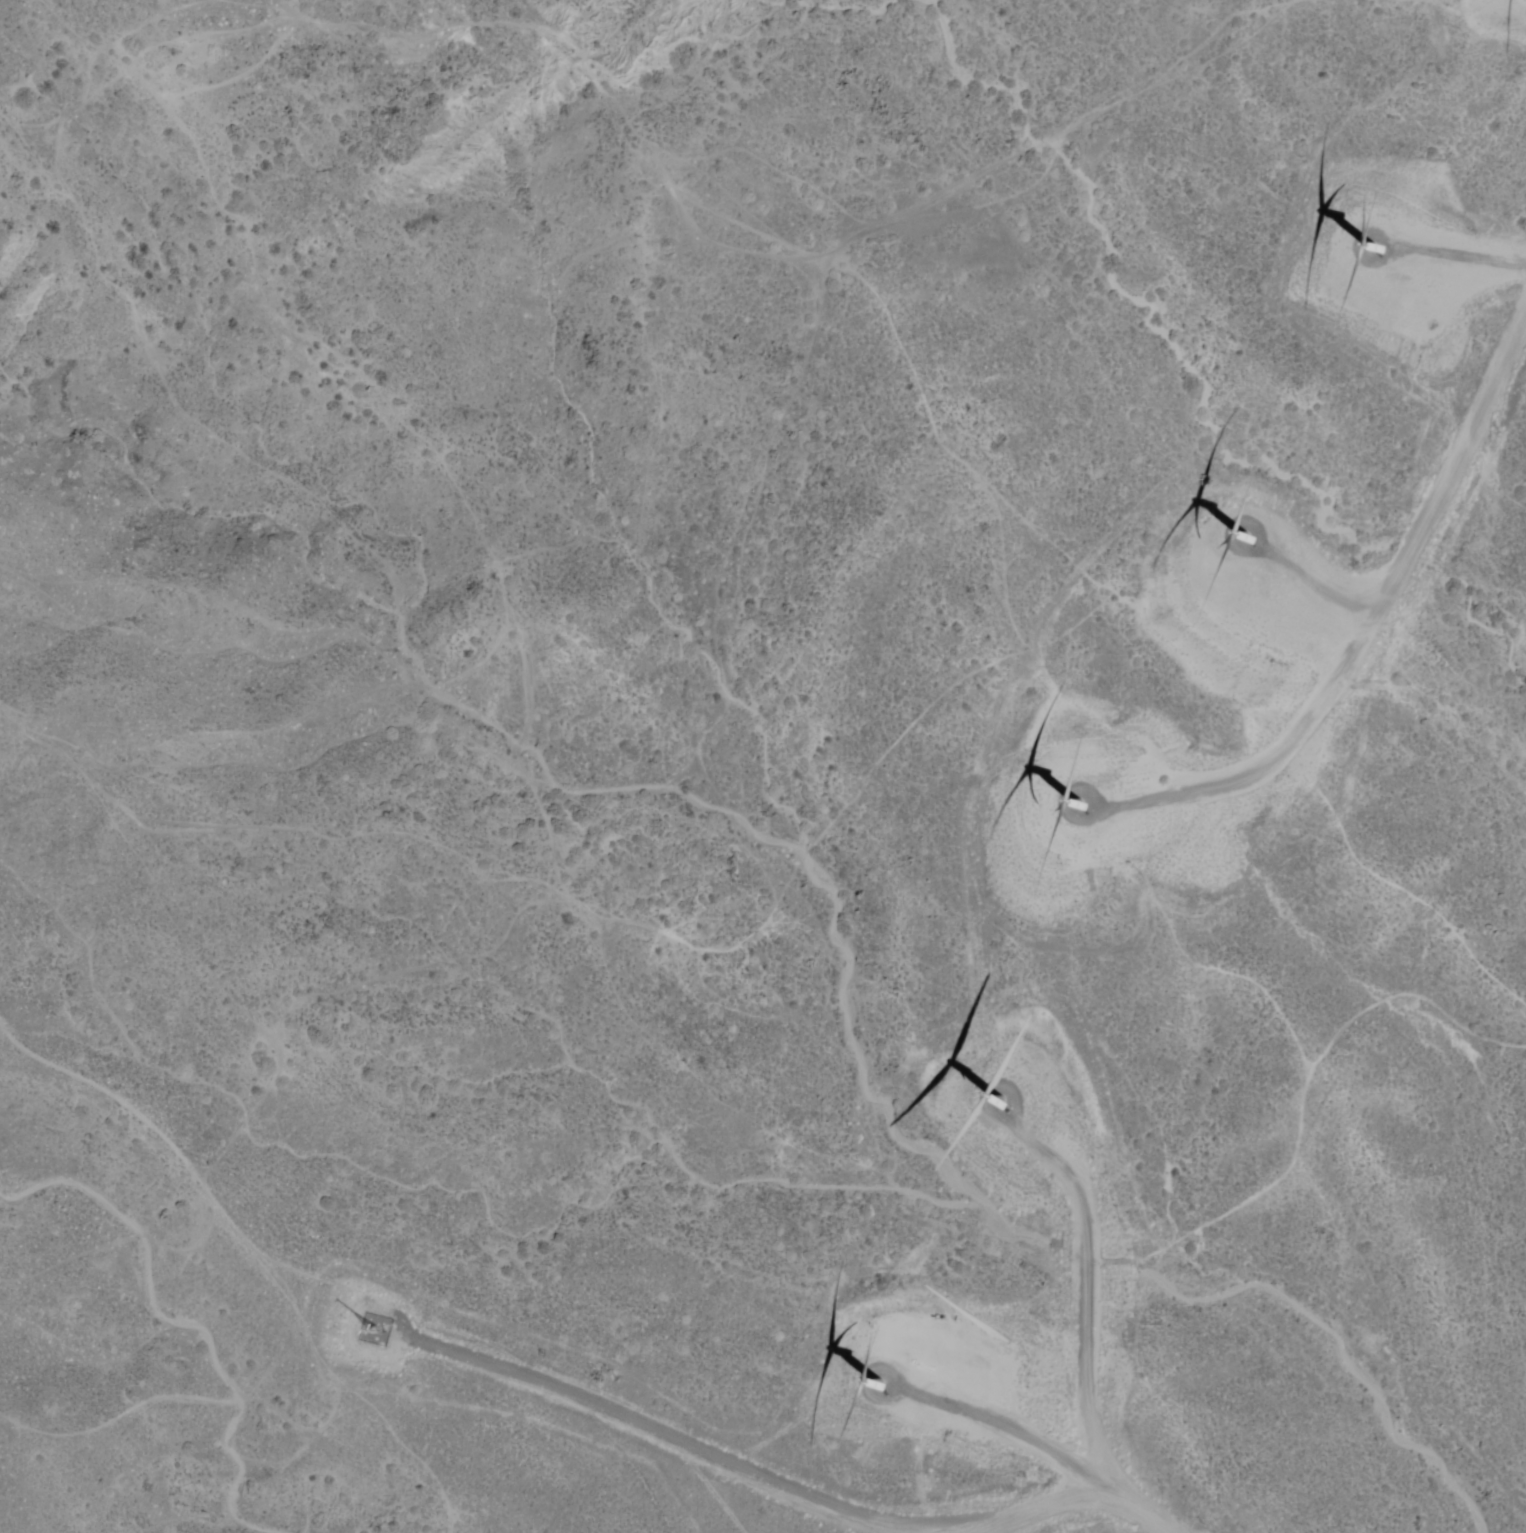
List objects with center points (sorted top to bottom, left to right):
wind turbine: (1360, 271)
wind turbine: (1236, 559)
wind turbine: (1072, 807)
wind turbine: (1016, 1091)
wind turbine: (876, 1391)

